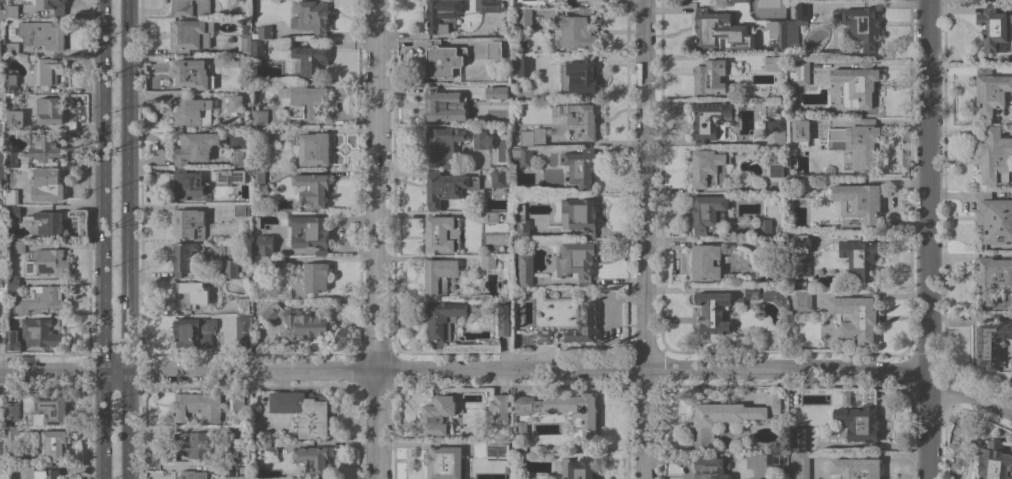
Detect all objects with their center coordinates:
building: (991, 0)
building: (740, 1)
road: (871, 1)
building: (1, 3)
building: (790, 4)
building: (53, 5)
building: (488, 5)
building: (191, 7)
building: (11, 11)
building: (2, 14)
building: (442, 15)
building: (311, 16)
building: (521, 18)
building: (797, 25)
building: (860, 25)
building: (245, 27)
building: (993, 27)
building: (575, 29)
building: (721, 31)
building: (263, 32)
building: (44, 33)
building: (191, 34)
building: (777, 35)
building: (244, 43)
building: (258, 47)
building: (11, 48)
building: (1, 50)
building: (497, 50)
building: (310, 59)
building: (444, 59)
building: (244, 60)
building: (767, 60)
building: (524, 65)
building: (294, 66)
building: (47, 70)
building: (800, 72)
building: (193, 74)
building: (782, 74)
building: (578, 76)
building: (712, 77)
building: (269, 79)
building: (11, 83)
building: (859, 83)
building: (843, 90)
building: (991, 91)
building: (499, 92)
building: (2, 94)
building: (303, 100)
building: (236, 102)
building: (442, 104)
building: (48, 110)
building: (192, 111)
building: (259, 117)
building: (16, 118)
building: (582, 118)
building: (710, 119)
building: (2, 126)
building: (775, 127)
building: (801, 131)
building: (264, 134)
building: (532, 136)
building: (482, 139)
building: (859, 142)
building: (443, 143)
building: (195, 147)
building: (314, 148)
building: (37, 150)
building: (523, 155)
building: (995, 156)
building: (2, 157)
building: (237, 158)
building: (580, 166)
building: (707, 166)
building: (776, 168)
building: (239, 172)
building: (2, 176)
building: (258, 176)
building: (499, 178)
building: (188, 182)
building: (48, 184)
road: (126, 185)
building: (802, 186)
building: (261, 187)
building: (314, 187)
building: (447, 187)
building: (12, 196)
building: (859, 200)
building: (241, 209)
building: (14, 211)
building: (707, 213)
building: (581, 214)
building: (994, 216)
building: (492, 217)
building: (50, 222)
building: (189, 223)
building: (524, 228)
building: (765, 228)
building: (310, 232)
building: (438, 234)
road: (103, 239)
road: (377, 239)
road: (645, 239)
road: (928, 239)
building: (802, 243)
building: (264, 245)
building: (18, 246)
building: (2, 248)
building: (777, 252)
building: (185, 257)
building: (860, 257)
building: (576, 260)
building: (488, 261)
building: (705, 262)
building: (48, 263)
building: (277, 263)
building: (798, 264)
building: (231, 268)
building: (526, 268)
building: (440, 274)
building: (993, 277)
building: (312, 279)
building: (0, 280)
building: (12, 285)
building: (752, 291)
building: (191, 293)
building: (775, 296)
building: (41, 299)
building: (802, 300)
building: (243, 305)
building: (0, 310)
building: (716, 311)
building: (856, 316)
building: (505, 318)
building: (444, 320)
building: (297, 321)
building: (582, 325)
building: (244, 331)
building: (194, 332)
building: (40, 333)
building: (544, 336)
building: (2, 338)
building: (12, 341)
building: (993, 341)
road: (509, 369)
building: (238, 401)
building: (197, 406)
building: (499, 408)
building: (562, 408)
building: (51, 409)
building: (12, 410)
building: (304, 411)
building: (440, 415)
building: (728, 416)
building: (2, 417)
building: (861, 423)
road: (126, 424)
building: (521, 428)
building: (13, 436)
building: (800, 439)
building: (55, 443)
building: (195, 446)
building: (235, 446)
building: (271, 446)
building: (2, 448)
building: (488, 450)
building: (775, 458)
building: (313, 461)
building: (995, 461)
building: (445, 462)
building: (801, 465)
building: (711, 467)
building: (857, 467)
building: (579, 468)
building: (235, 471)
building: (45, 472)
building: (192, 474)
building: (0, 477)

